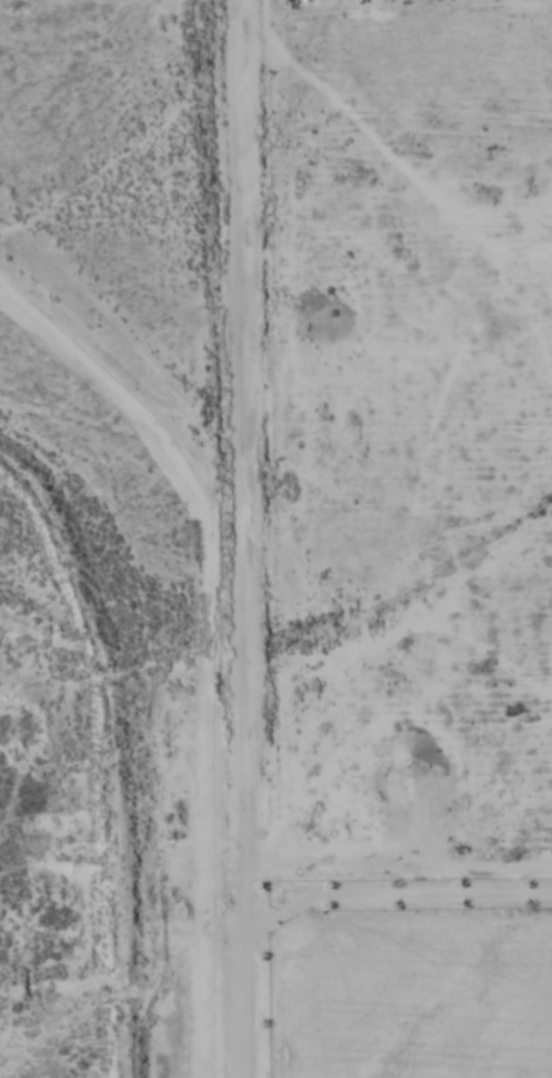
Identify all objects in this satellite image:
road: (354, 395)
road: (249, 538)
road: (387, 1059)

